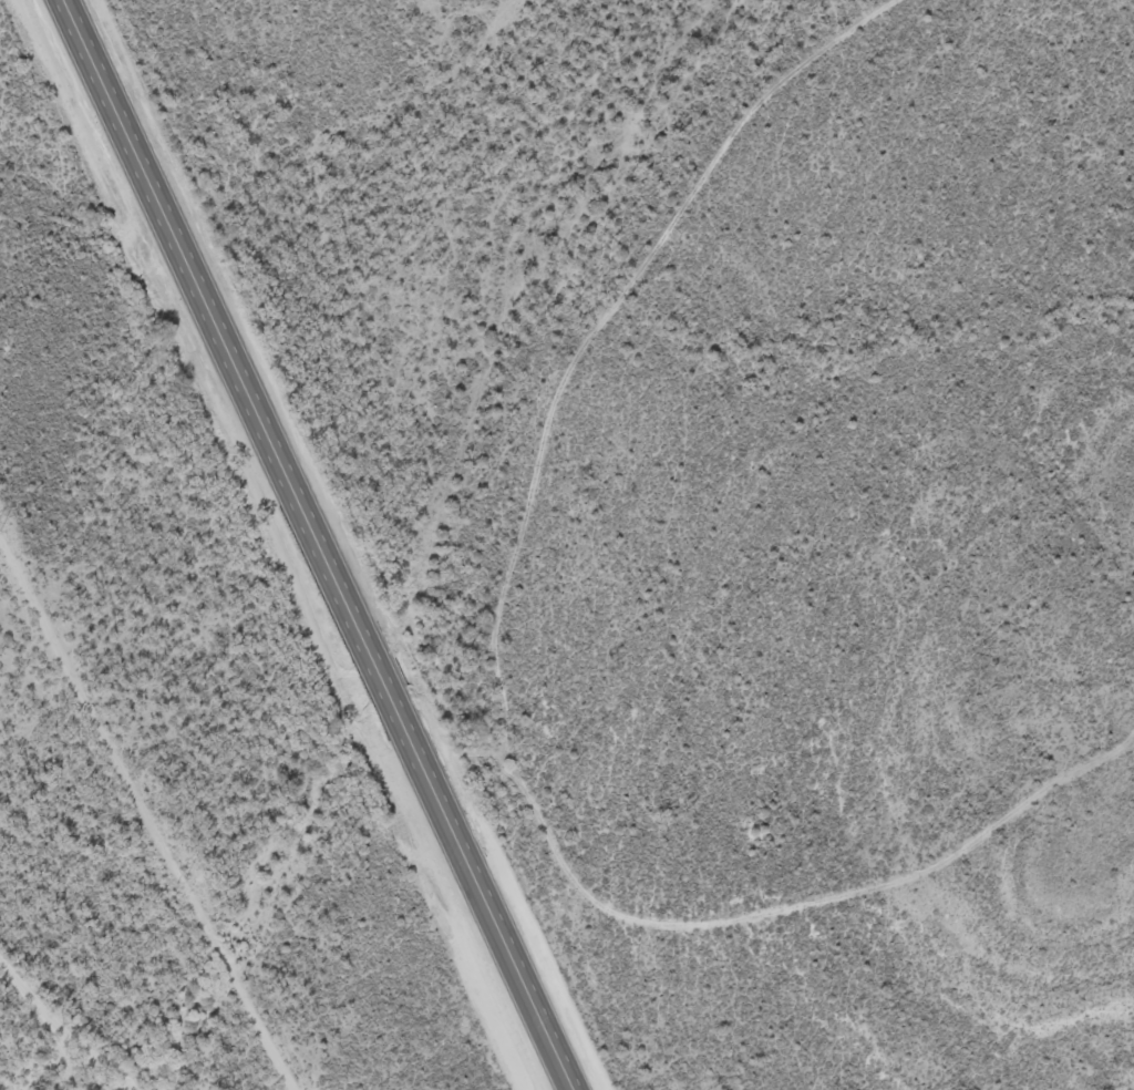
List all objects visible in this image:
road: (323, 544)
power tower: (182, 885)
road: (759, 914)
road: (61, 1029)

